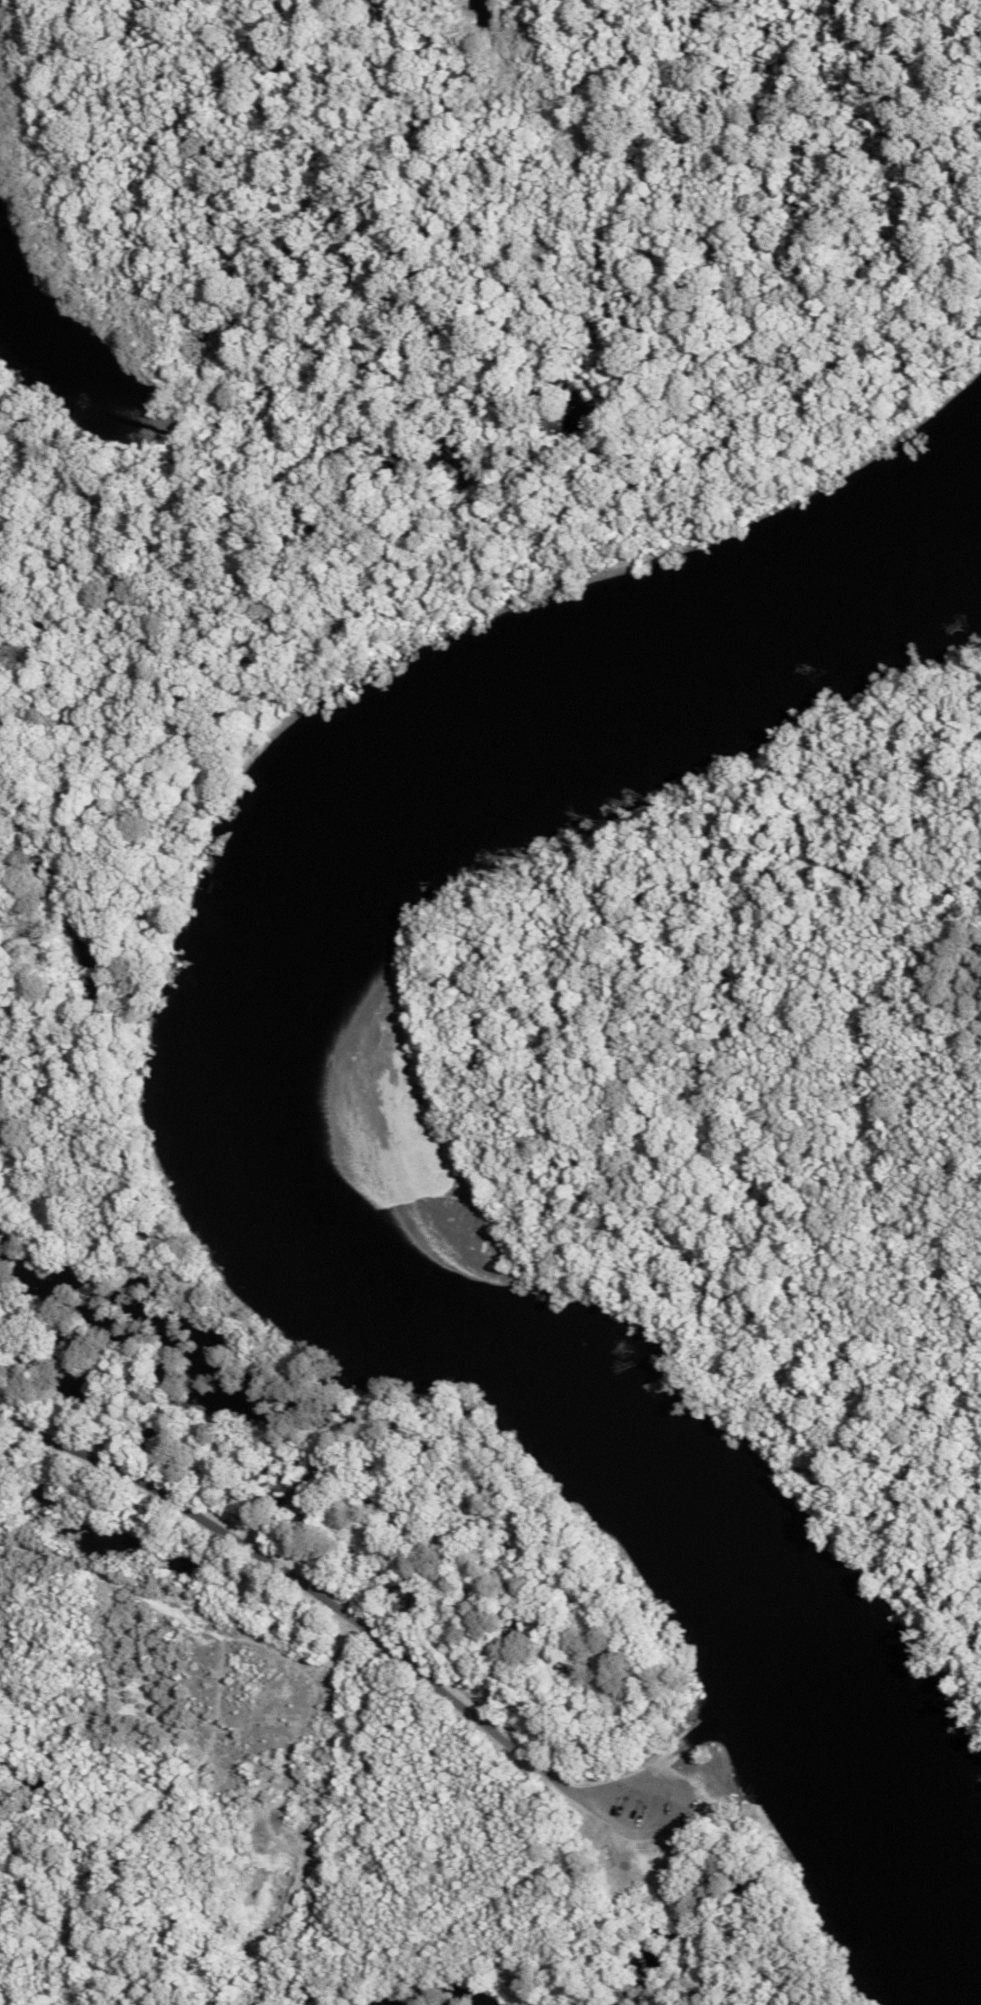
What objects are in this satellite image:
river: (326, 1150)
road: (319, 1590)

